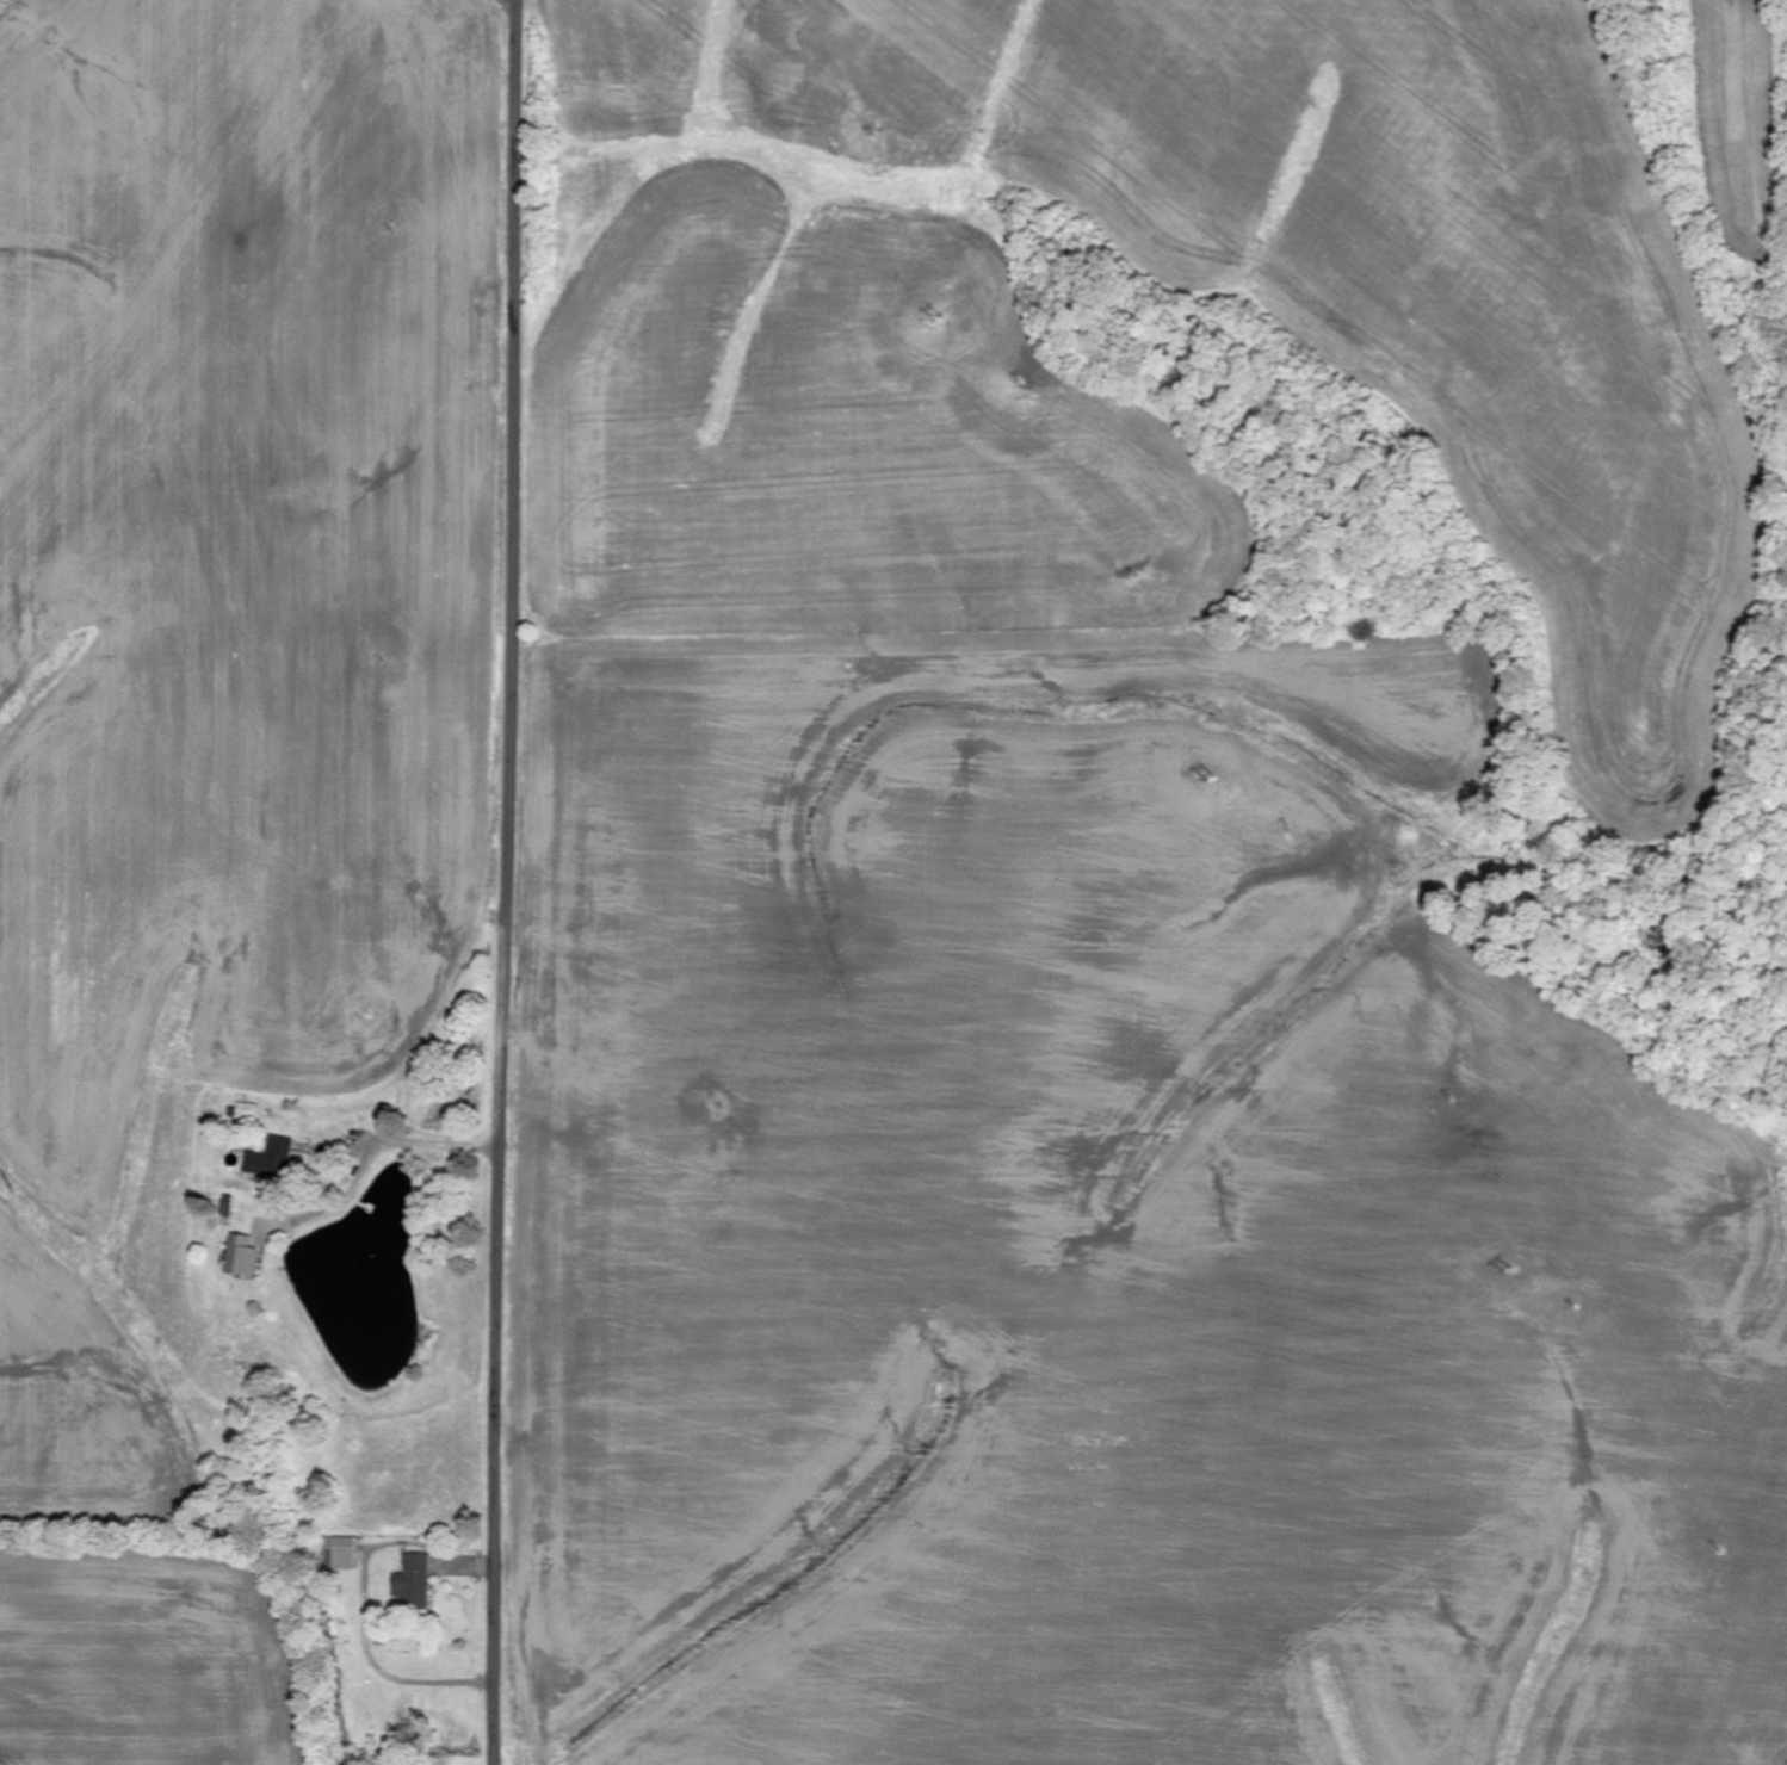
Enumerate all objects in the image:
road: (508, 882)
building: (245, 1111)
building: (270, 1159)
building: (241, 1257)
building: (340, 1552)
building: (413, 1581)

